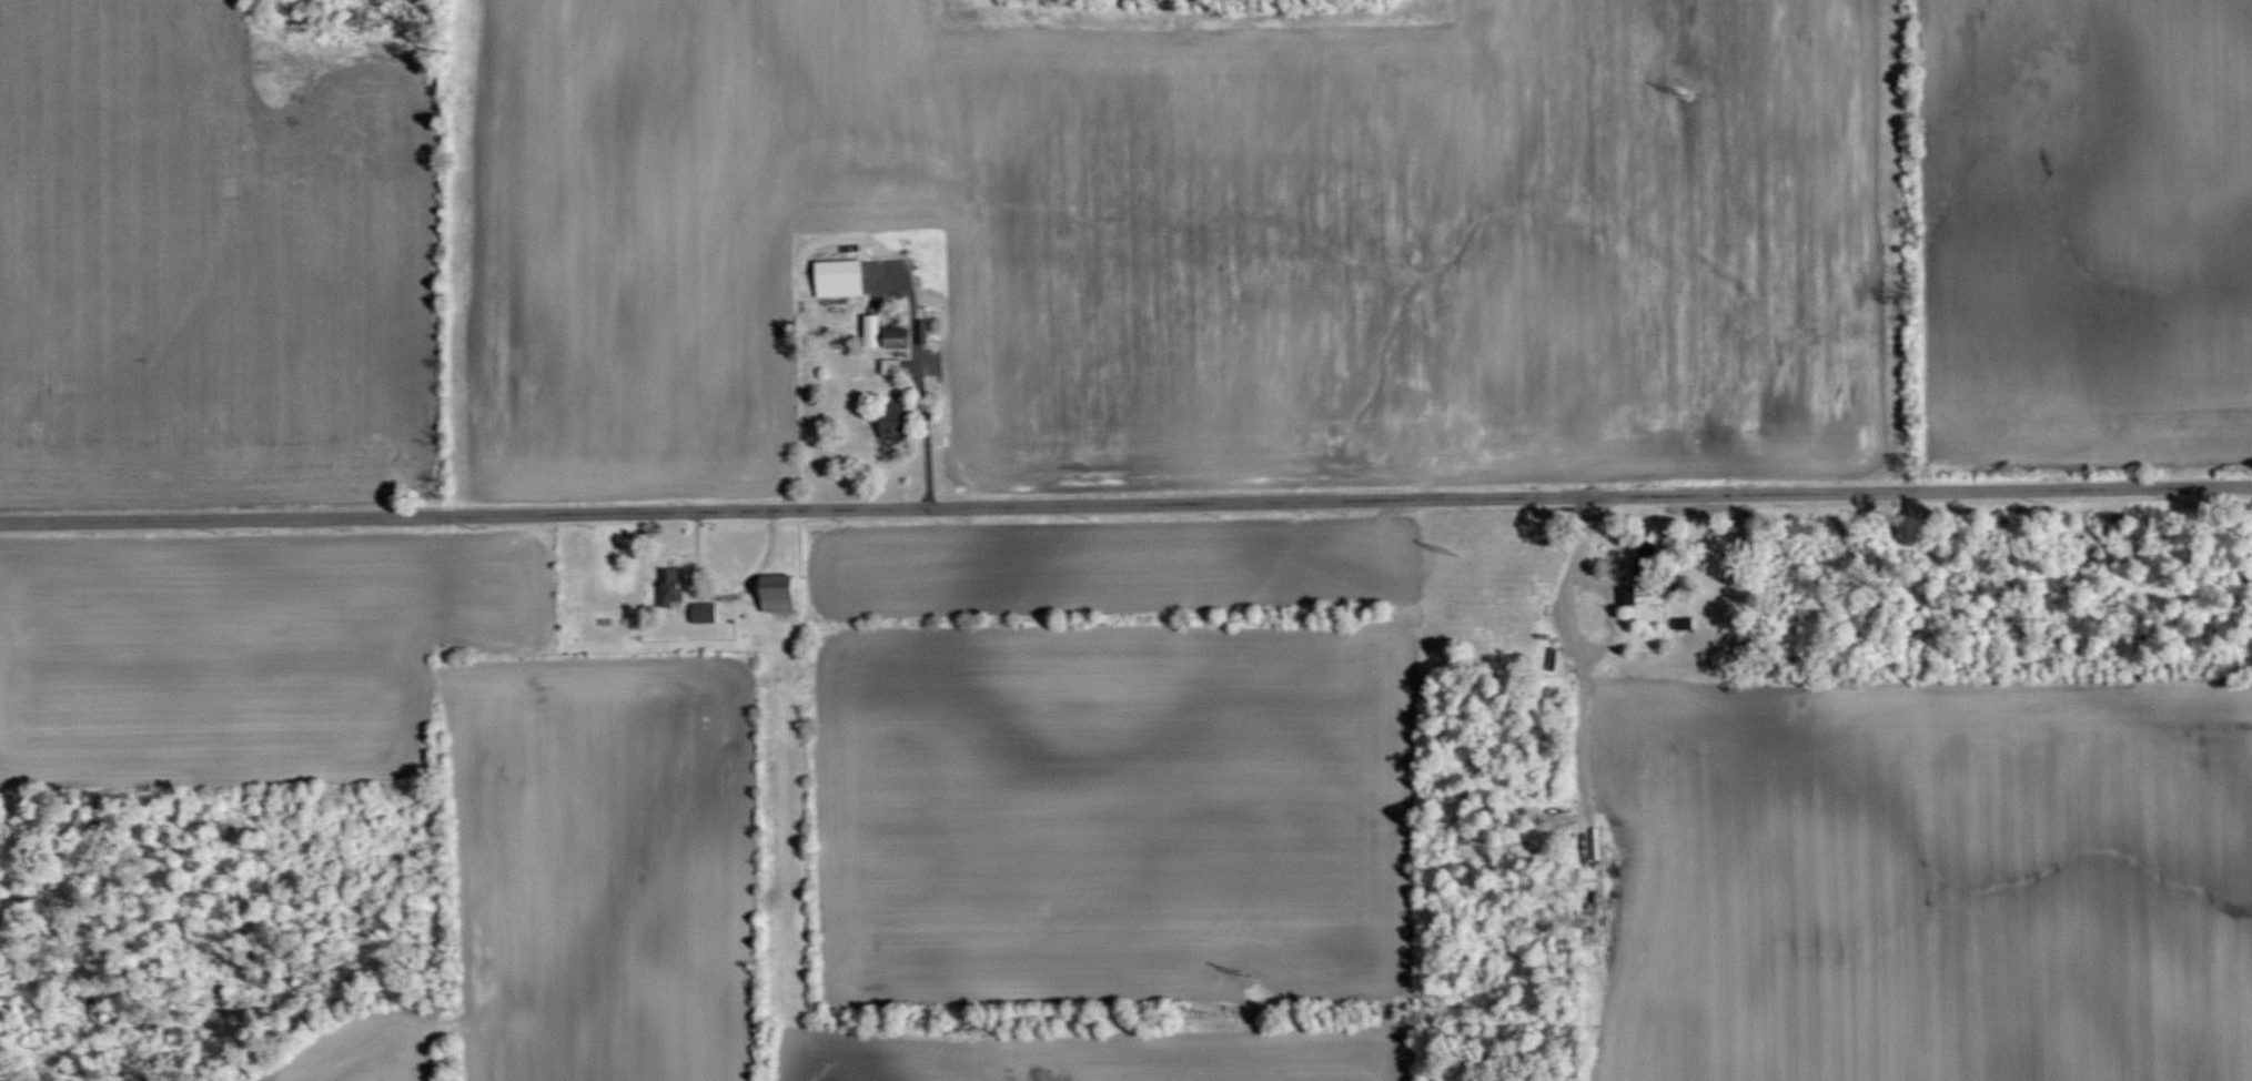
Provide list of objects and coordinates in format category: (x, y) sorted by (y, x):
power tower: (1699, 99)
building: (923, 331)
building: (898, 340)
building: (892, 365)
building: (895, 421)
road: (1125, 498)
road: (1616, 545)
power tower: (1468, 555)
building: (1648, 566)
building: (671, 585)
building: (779, 593)
building: (1627, 595)
road: (1613, 602)
building: (704, 612)
building: (1684, 622)
road: (1582, 664)
power tower: (1250, 977)

